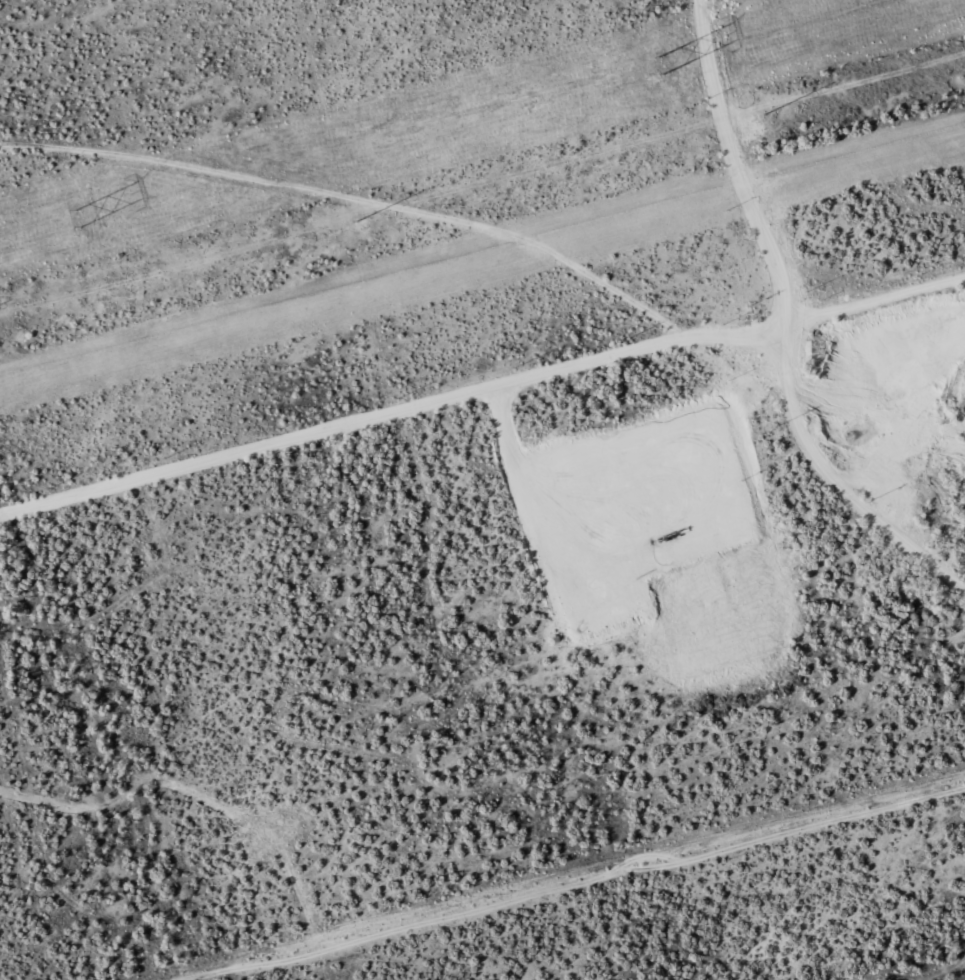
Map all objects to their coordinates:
power tower: (666, 60)
power tower: (765, 115)
power tower: (357, 220)
power tower: (81, 221)

